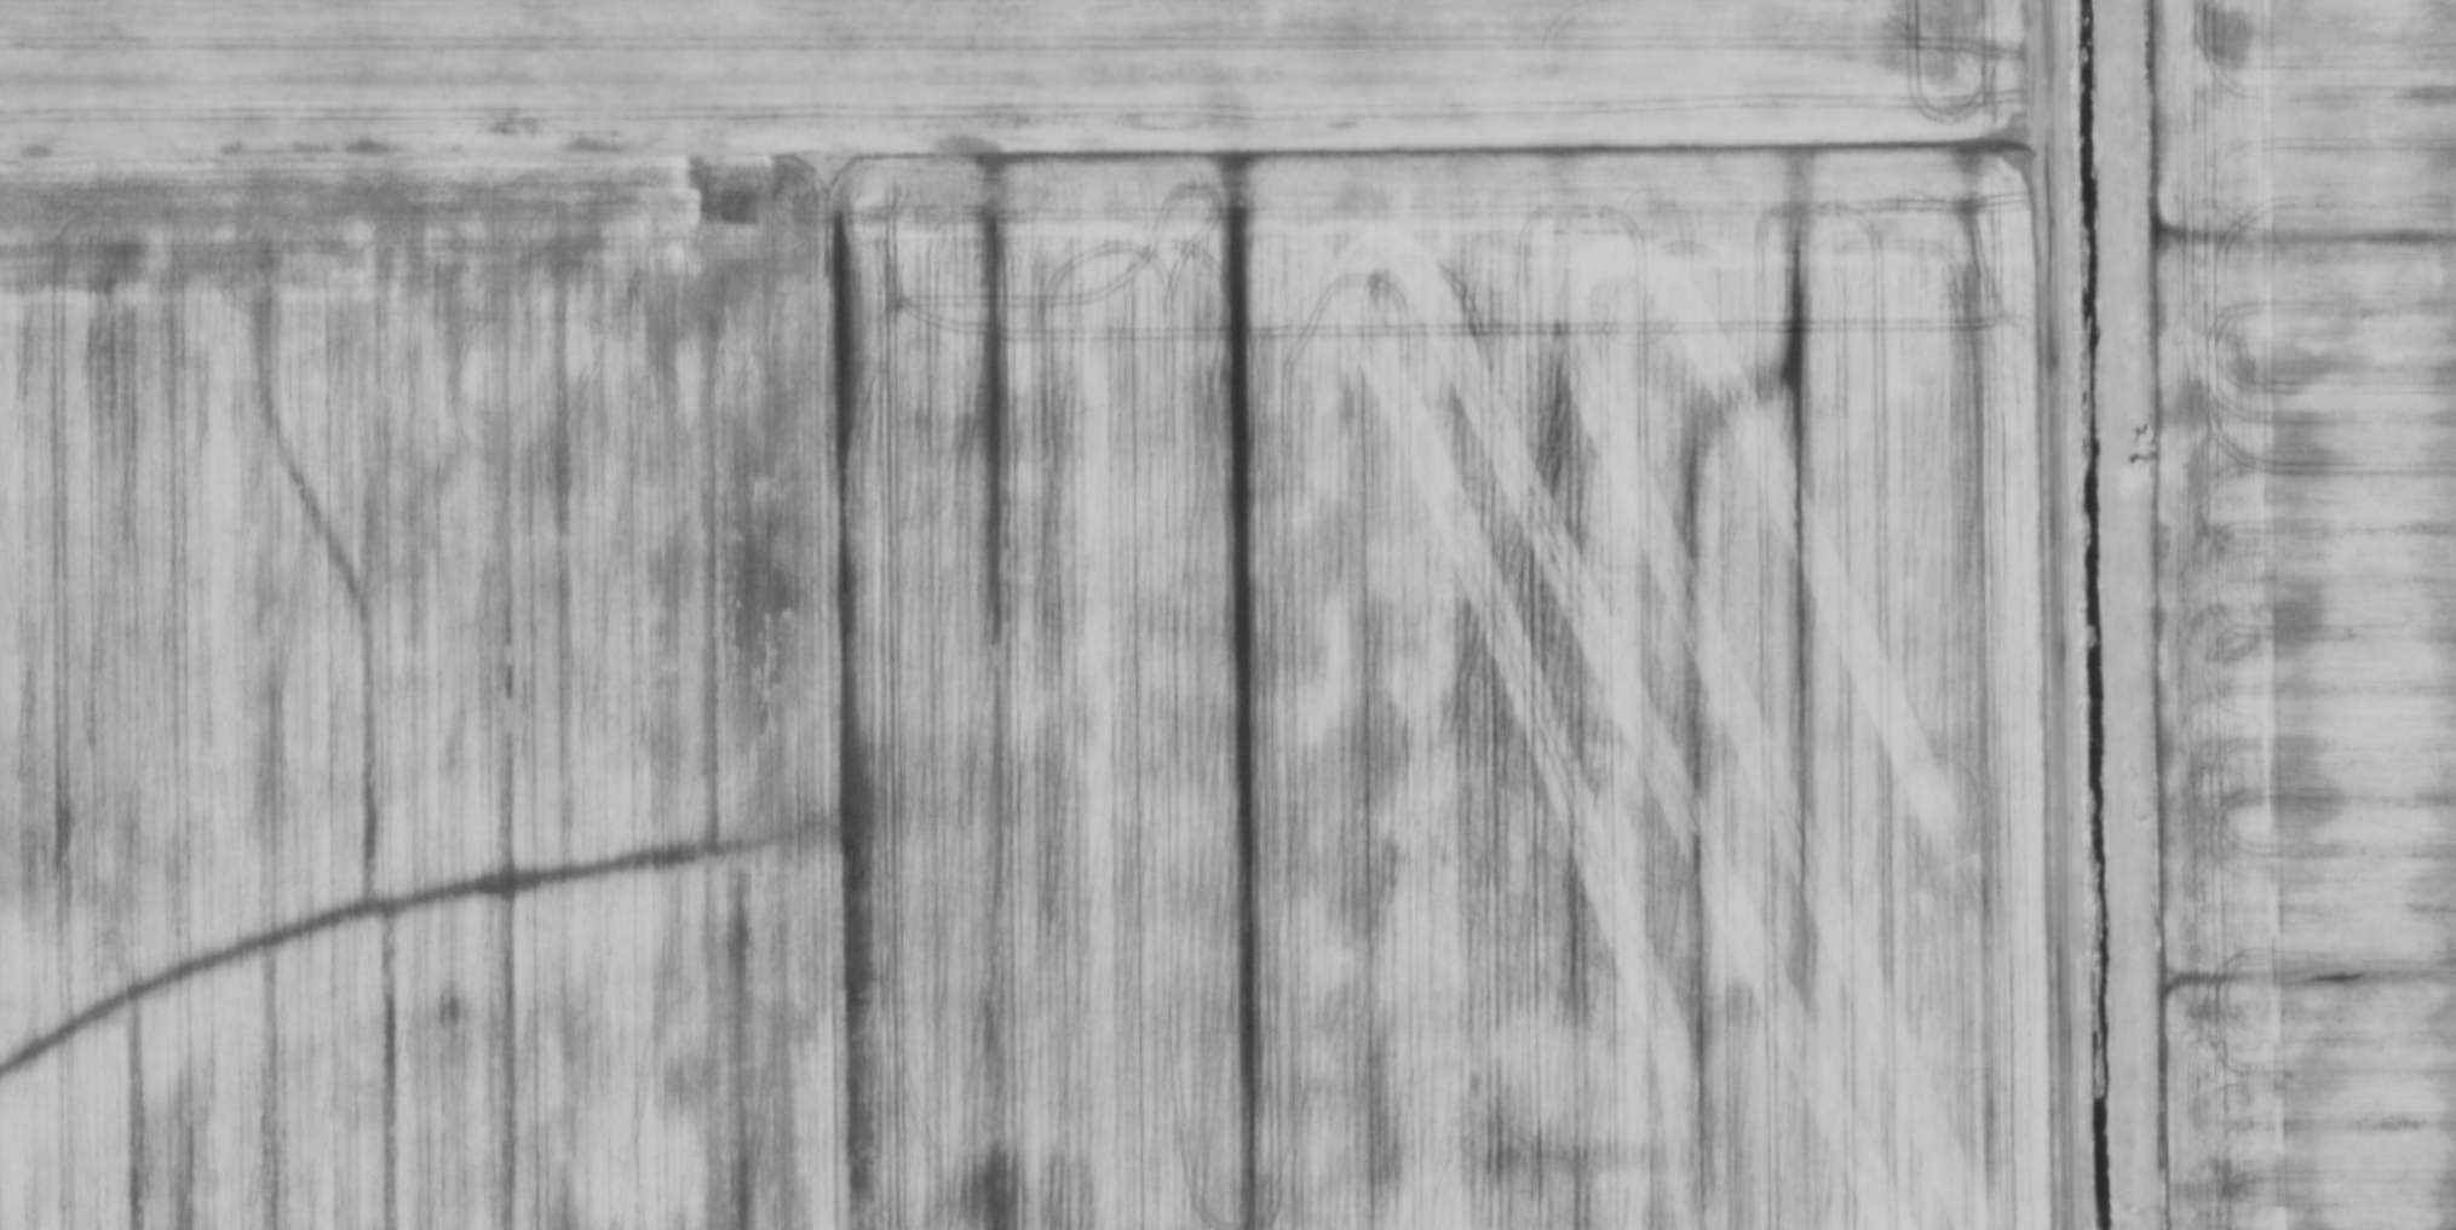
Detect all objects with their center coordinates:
road: (2058, 615)

